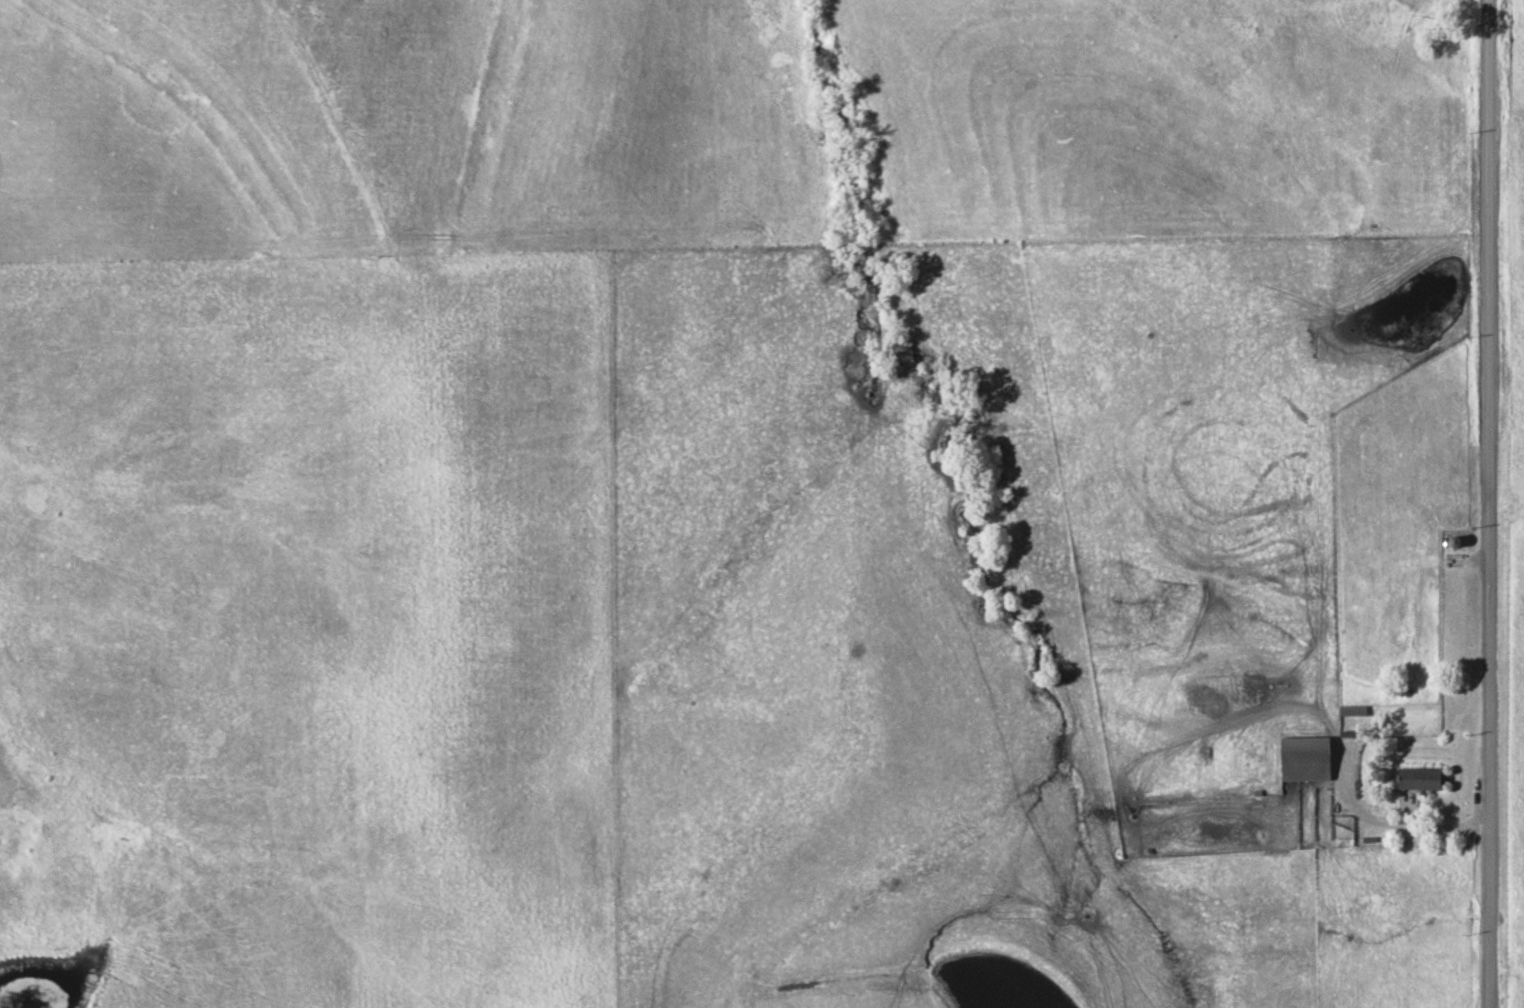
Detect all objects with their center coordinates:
road: (1491, 503)
building: (1301, 759)

